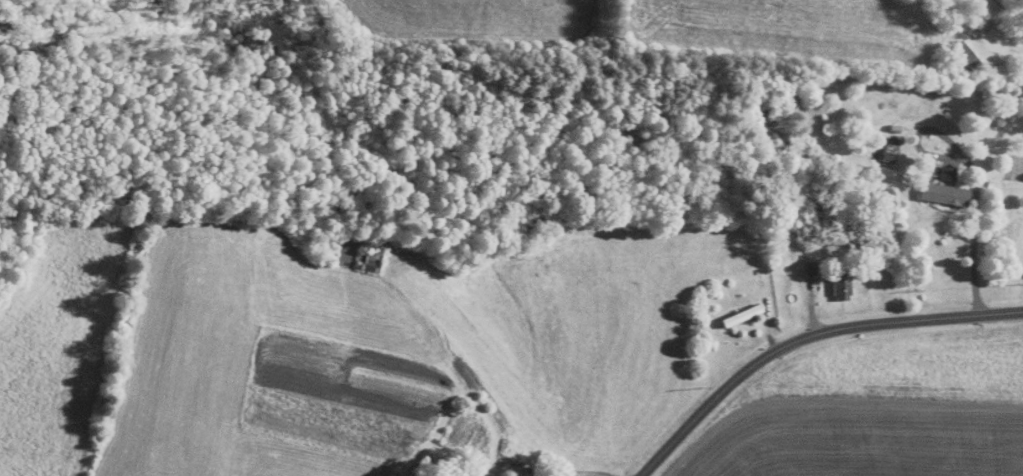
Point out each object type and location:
road: (1010, 11)
building: (958, 58)
building: (887, 152)
building: (878, 176)
building: (947, 176)
building: (941, 196)
building: (369, 261)
building: (837, 289)
building: (739, 317)
road: (809, 339)

